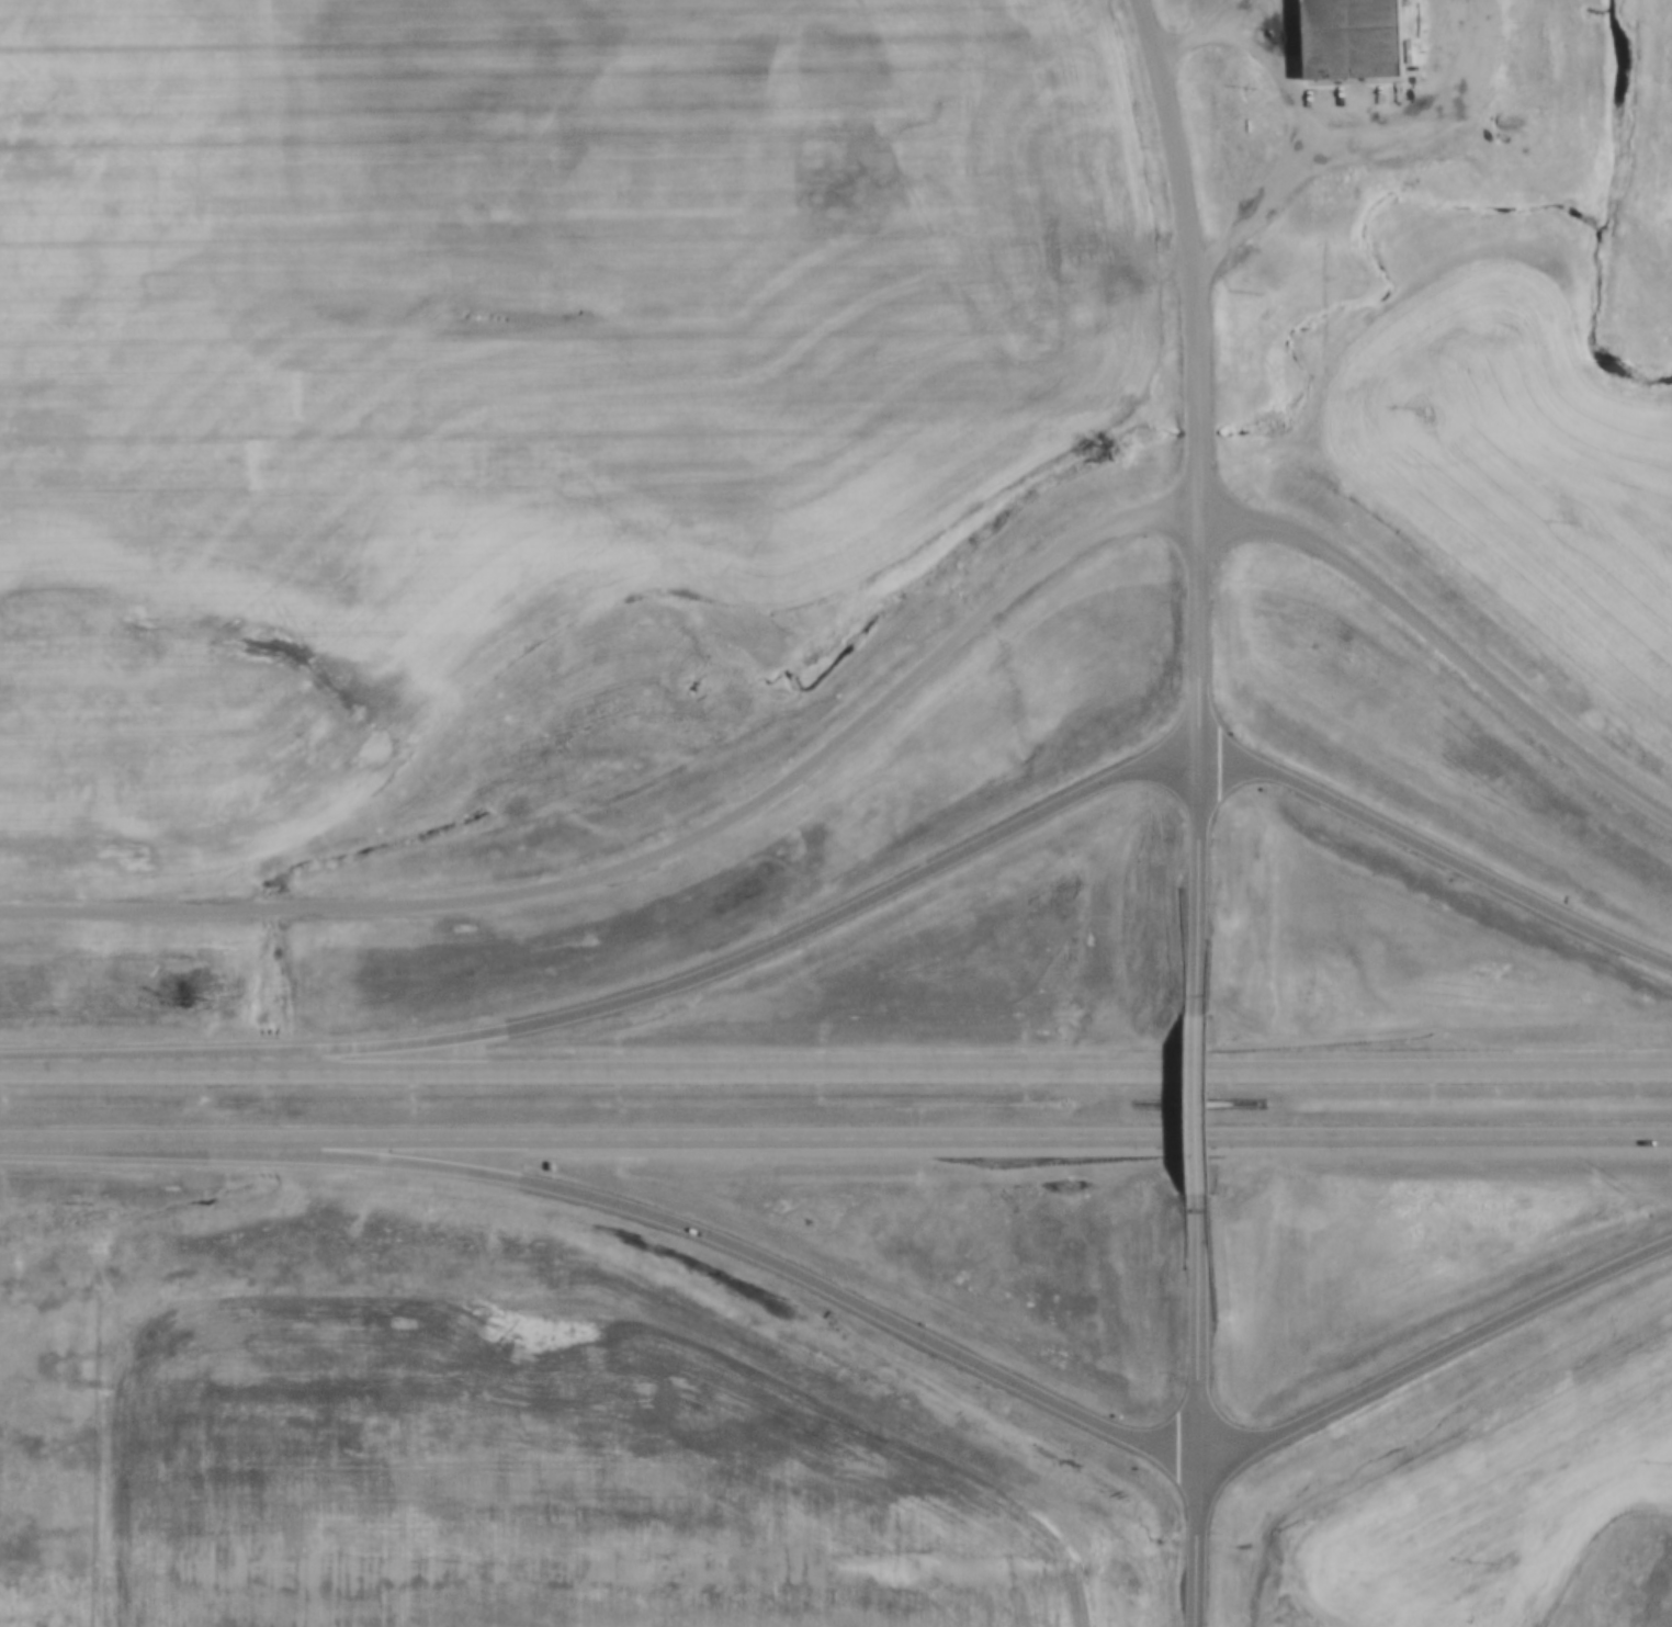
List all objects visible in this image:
road: (1210, 30)
building: (1352, 42)
road: (1353, 140)
road: (1198, 365)
road: (889, 697)
road: (1027, 816)
road: (1205, 878)
road: (835, 1061)
road: (1206, 1105)
road: (836, 1137)
road: (798, 1272)
road: (1436, 1354)
road: (1200, 1408)

